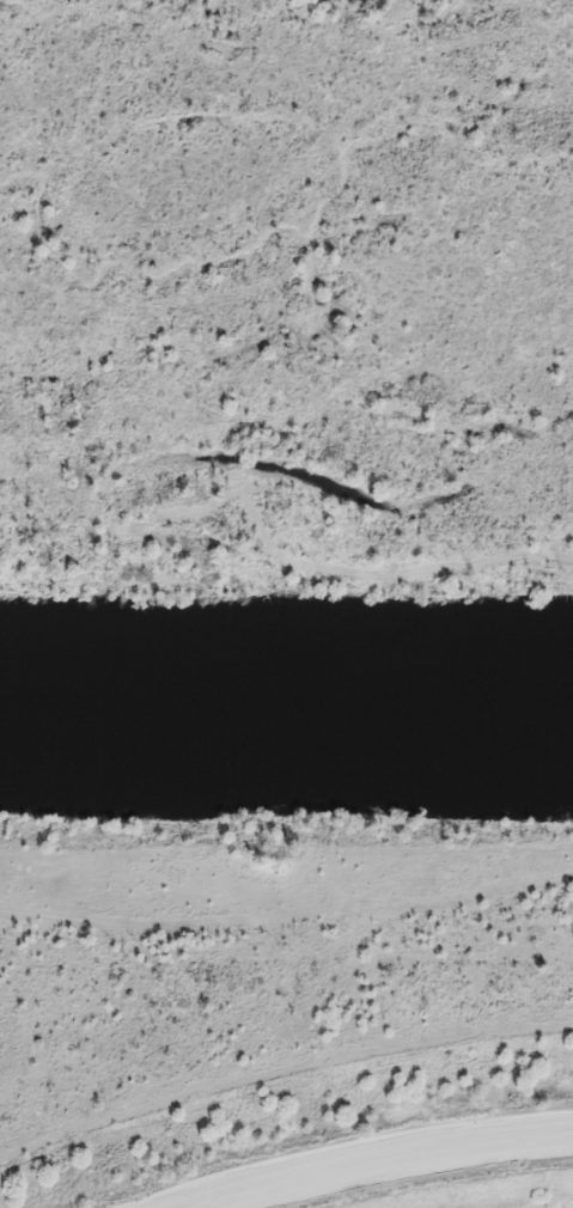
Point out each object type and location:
quarry: (328, 1129)
road: (371, 1163)

